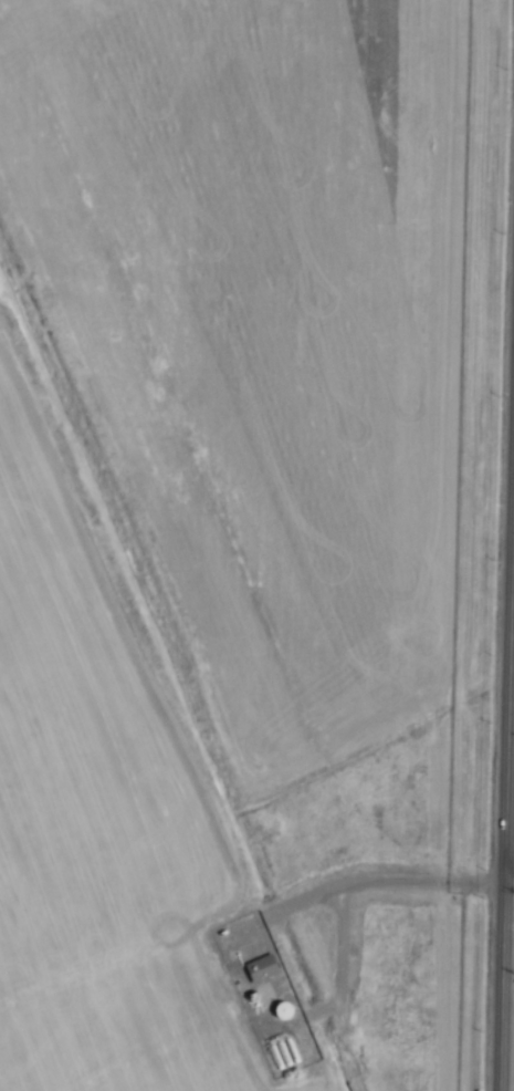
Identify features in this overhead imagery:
road: (505, 798)
road: (365, 883)
road: (508, 887)
road: (342, 954)
building: (259, 969)
building: (280, 1011)
road: (301, 1020)

